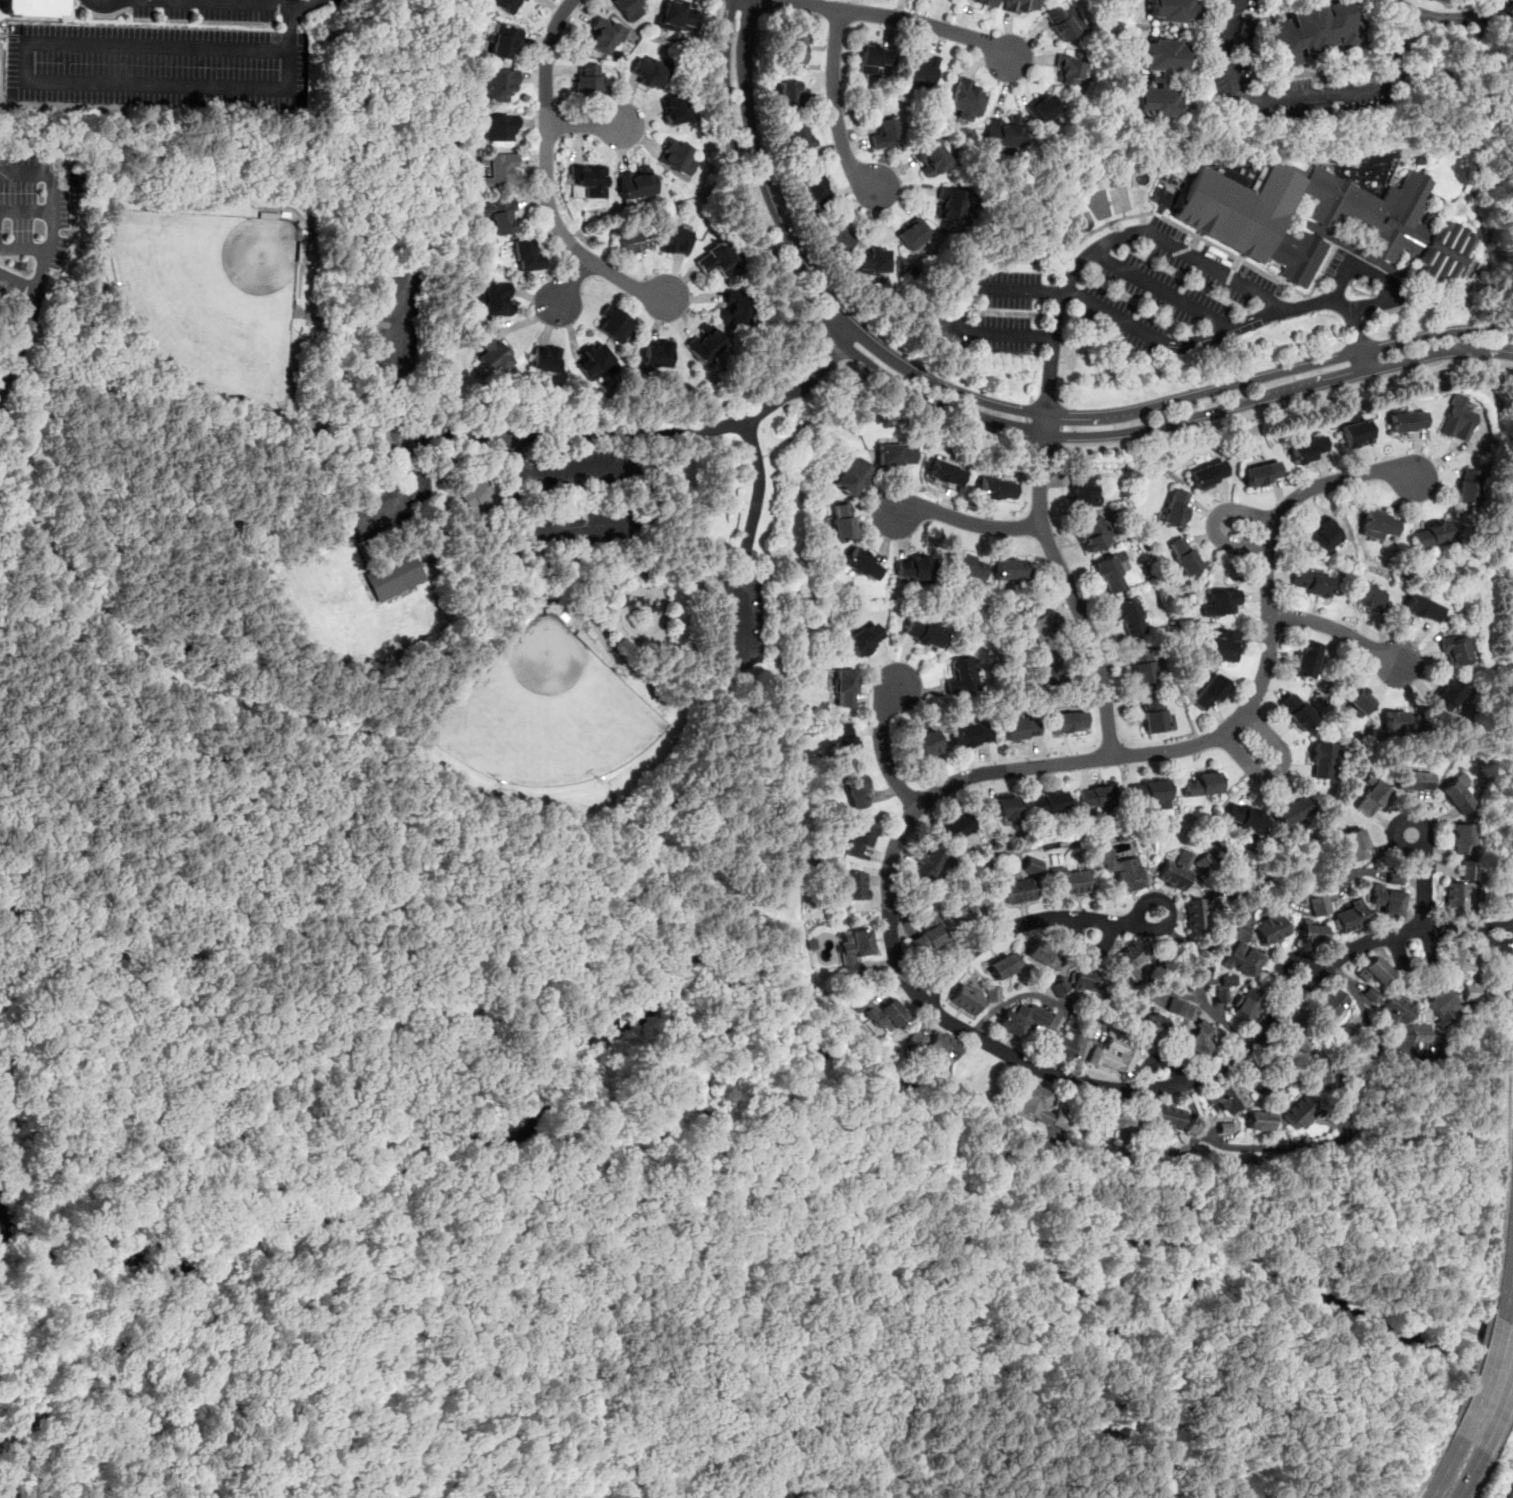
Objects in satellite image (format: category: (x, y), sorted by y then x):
building: (985, 2)
road: (235, 3)
building: (502, 4)
road: (109, 5)
building: (1020, 5)
building: (30, 8)
building: (628, 8)
building: (1171, 10)
building: (674, 16)
road: (904, 18)
road: (1448, 18)
building: (1063, 22)
building: (1311, 32)
building: (601, 37)
road: (289, 39)
building: (502, 40)
building: (793, 49)
building: (872, 59)
road: (24, 61)
building: (1066, 69)
building: (921, 70)
building: (648, 73)
building: (1159, 79)
building: (585, 80)
building: (499, 84)
building: (788, 94)
road: (1297, 97)
building: (966, 98)
road: (833, 107)
building: (1042, 108)
building: (674, 109)
road: (583, 125)
building: (499, 128)
building: (1004, 131)
building: (884, 134)
building: (800, 144)
building: (675, 155)
building: (930, 156)
building: (499, 171)
road: (546, 178)
road: (726, 178)
building: (588, 180)
building: (635, 181)
building: (815, 189)
building: (948, 203)
road: (27, 212)
road: (53, 212)
building: (497, 215)
building: (1313, 218)
building: (839, 233)
road: (1090, 233)
building: (913, 234)
building: (633, 240)
building: (674, 240)
road: (1108, 242)
road: (23, 248)
building: (526, 256)
building: (717, 259)
building: (872, 260)
road: (1377, 276)
road: (19, 279)
road: (571, 281)
road: (1160, 289)
road: (1045, 291)
road: (1457, 298)
building: (496, 299)
park: (212, 303)
road: (1342, 304)
building: (735, 308)
road: (959, 309)
road: (1040, 314)
road: (1111, 314)
building: (614, 322)
parking lot: (399, 323)
road: (1217, 331)
road: (1037, 336)
building: (705, 342)
road: (18, 343)
road: (829, 346)
road: (1492, 348)
building: (657, 353)
building: (492, 354)
building: (545, 358)
building: (594, 360)
road: (1032, 378)
road: (873, 382)
road: (786, 390)
road: (1284, 404)
road: (999, 405)
road: (965, 413)
building: (1456, 419)
building: (1407, 420)
building: (1356, 433)
road: (518, 436)
road: (1043, 446)
building: (1308, 450)
road: (658, 453)
building: (895, 455)
road: (755, 458)
building: (945, 474)
building: (1207, 474)
building: (1262, 474)
park: (688, 475)
building: (851, 477)
building: (1468, 486)
road: (447, 490)
building: (996, 490)
building: (1080, 491)
parking lot: (582, 498)
road: (404, 499)
parking lot: (390, 507)
building: (1175, 507)
road: (968, 521)
road: (1212, 521)
road: (631, 523)
building: (841, 523)
building: (1378, 524)
road: (583, 527)
building: (1430, 534)
building: (1095, 535)
building: (1323, 535)
road: (747, 539)
road: (524, 551)
building: (1182, 556)
building: (861, 565)
building: (966, 566)
building: (914, 567)
road: (721, 568)
building: (1012, 570)
building: (1108, 575)
building: (395, 578)
building: (1310, 583)
road: (537, 584)
road: (1067, 586)
building: (1367, 598)
building: (1222, 603)
building: (1423, 608)
road: (593, 610)
building: (1129, 618)
parking lot: (745, 621)
building: (1033, 623)
road: (1337, 631)
building: (923, 632)
building: (863, 639)
building: (1222, 646)
building: (1454, 650)
building: (1305, 658)
building: (1140, 666)
building: (1044, 668)
building: (961, 677)
park: (525, 688)
building: (844, 688)
building: (1209, 693)
building: (1356, 697)
building: (1446, 697)
building: (1296, 711)
park: (549, 715)
building: (1155, 718)
building: (1401, 721)
building: (1068, 723)
building: (1019, 729)
building: (971, 736)
building: (844, 739)
building: (924, 745)
road: (881, 747)
building: (1322, 761)
road: (1277, 771)
building: (1413, 781)
building: (1200, 784)
road: (686, 787)
building: (855, 789)
building: (1148, 793)
building: (1456, 797)
building: (1096, 798)
building: (1371, 799)
building: (1046, 804)
building: (998, 808)
building: (1291, 812)
building: (1243, 816)
building: (955, 827)
building: (858, 839)
building: (1462, 839)
building: (1355, 845)
road: (890, 860)
building: (1204, 863)
building: (927, 864)
building: (1176, 870)
building: (1121, 871)
road: (1423, 878)
building: (1073, 882)
building: (852, 885)
building: (1461, 885)
building: (1019, 891)
building: (1387, 900)
building: (1319, 907)
building: (971, 911)
building: (1195, 916)
building: (1347, 918)
road: (1023, 922)
road: (1489, 925)
building: (1270, 929)
building: (1311, 934)
road: (1512, 938)
building: (928, 940)
road: (1488, 940)
building: (852, 950)
building: (1242, 954)
building: (1042, 955)
building: (1128, 959)
building: (1457, 965)
building: (1003, 966)
building: (1374, 972)
road: (770, 976)
building: (1085, 980)
building: (1059, 987)
building: (1224, 987)
building: (1470, 992)
building: (993, 994)
building: (966, 999)
building: (1248, 1005)
building: (1442, 1005)
building: (1330, 1006)
building: (1396, 1009)
building: (1181, 1010)
building: (877, 1013)
building: (1022, 1020)
building: (1151, 1029)
building: (1416, 1034)
building: (1342, 1035)
building: (916, 1038)
building: (1296, 1039)
building: (1200, 1040)
building: (1061, 1046)
building: (941, 1048)
building: (1113, 1058)
road: (1508, 1085)
building: (1225, 1097)
building: (1039, 1108)
building: (1300, 1113)
building: (1112, 1118)
building: (1167, 1119)
road: (566, 1121)
building: (1258, 1121)
road: (712, 1129)
road: (712, 1158)
road: (796, 1227)
road: (407, 1228)
road: (1499, 1257)
road: (1475, 1262)
road: (319, 1270)
road: (1508, 1292)
road: (291, 1294)
road: (879, 1316)
road: (274, 1317)
road: (898, 1362)
road: (1472, 1371)
road: (1485, 1380)
road: (477, 1383)
road: (904, 1389)
road: (1498, 1409)
road: (270, 1418)
road: (1501, 1430)
road: (623, 1447)
road: (862, 1450)
road: (1431, 1464)
road: (1445, 1468)
road: (1469, 1475)
road: (1479, 1479)
road: (647, 1480)
park: (302, 1488)

